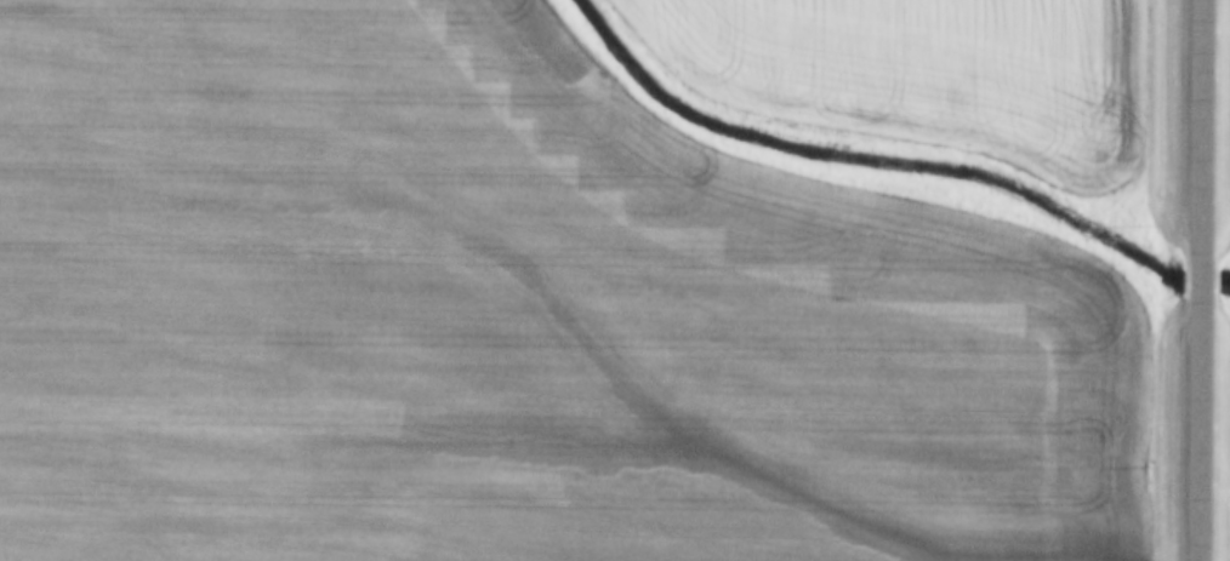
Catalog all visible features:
road: (1207, 280)

